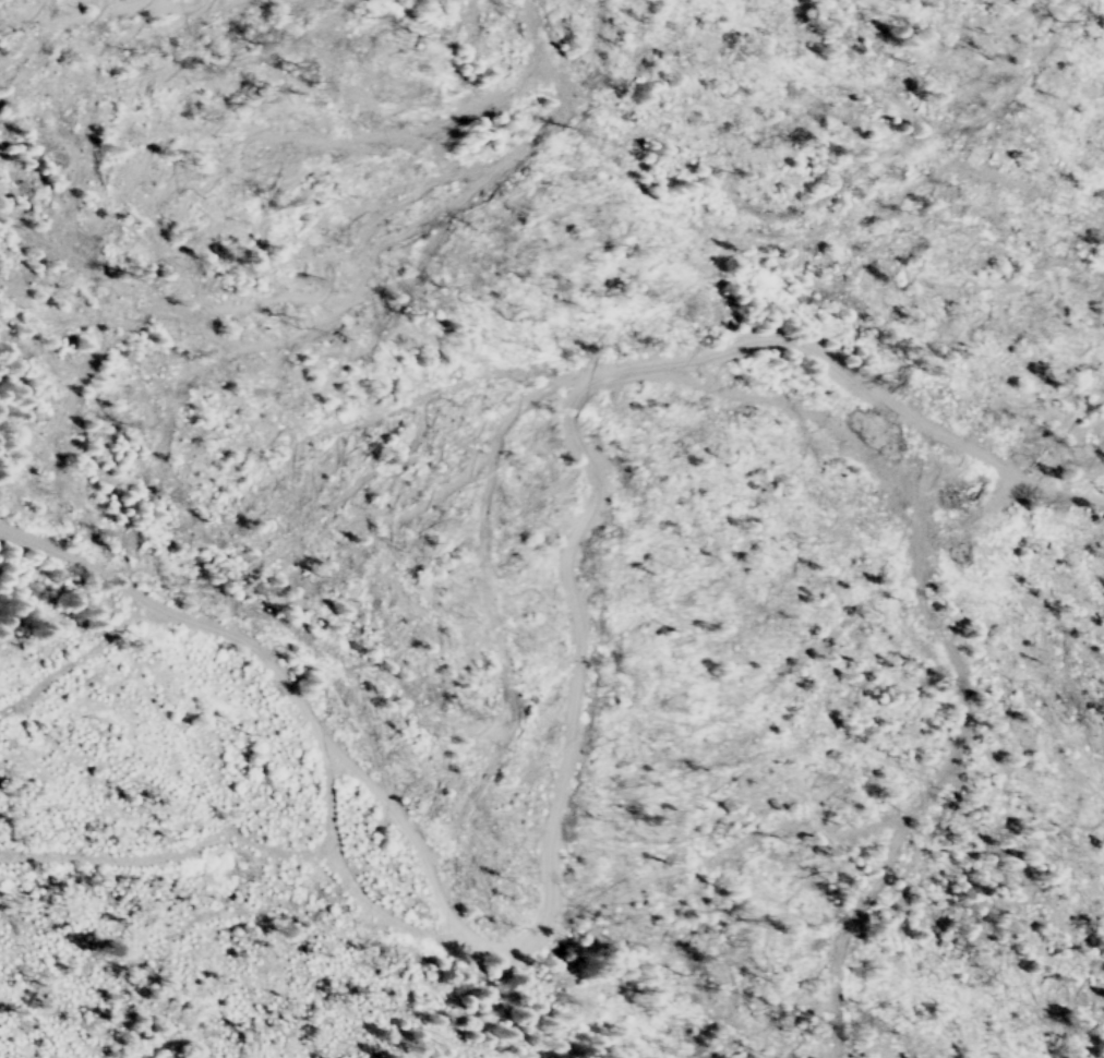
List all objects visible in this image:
road: (557, 730)

